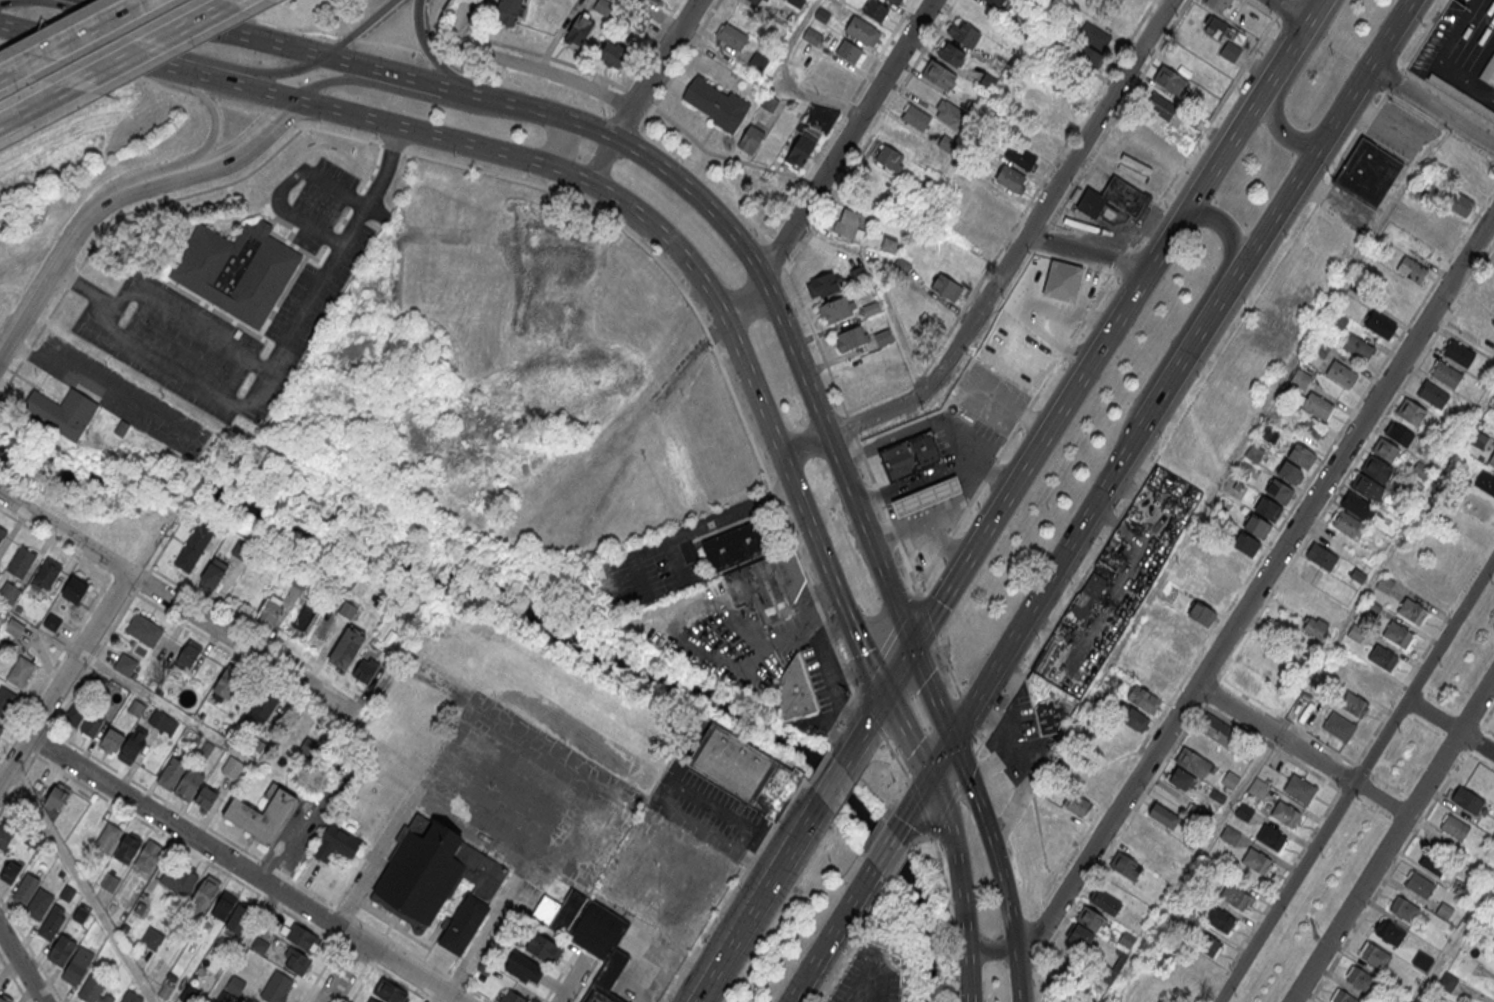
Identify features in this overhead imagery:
road: (12, 1)
road: (106, 1)
building: (654, 1)
building: (754, 1)
building: (896, 1)
building: (996, 2)
building: (795, 3)
building: (1219, 4)
building: (603, 6)
building: (875, 10)
building: (506, 11)
road: (1287, 11)
building: (822, 14)
road: (649, 16)
building: (638, 23)
road: (211, 28)
building: (1221, 28)
road: (358, 29)
building: (860, 29)
road: (1301, 29)
building: (578, 30)
building: (967, 33)
road: (76, 35)
building: (812, 35)
building: (732, 36)
building: (1098, 36)
road: (150, 43)
road: (651, 44)
road: (81, 45)
road: (528, 50)
building: (849, 51)
building: (1230, 51)
building: (951, 52)
building: (612, 54)
building: (1086, 54)
building: (757, 60)
road: (679, 63)
road: (356, 67)
road: (654, 68)
road: (521, 70)
building: (1488, 71)
road: (243, 72)
road: (4, 73)
building: (938, 74)
road: (786, 77)
road: (463, 78)
building: (1169, 79)
road: (339, 81)
building: (988, 81)
road: (228, 83)
road: (414, 83)
road: (1284, 90)
building: (1460, 95)
road: (497, 102)
building: (716, 102)
building: (769, 102)
building: (1159, 104)
road: (34, 105)
road: (1432, 106)
road: (211, 108)
building: (954, 115)
building: (916, 117)
building: (1049, 117)
building: (812, 130)
building: (750, 138)
road: (846, 139)
road: (248, 141)
road: (1323, 142)
building: (946, 143)
road: (1225, 145)
road: (553, 150)
building: (889, 156)
building: (1024, 157)
road: (599, 160)
road: (813, 160)
road: (535, 162)
building: (1368, 172)
road: (674, 177)
building: (1010, 177)
road: (286, 184)
building: (1113, 201)
building: (1457, 202)
road: (823, 211)
road: (116, 214)
building: (847, 221)
road: (72, 231)
road: (829, 243)
building: (889, 244)
road: (1083, 255)
road: (1006, 264)
building: (902, 265)
building: (237, 269)
building: (1412, 269)
building: (859, 273)
building: (822, 284)
building: (947, 287)
building: (1061, 290)
parking lot: (147, 291)
road: (748, 300)
building: (871, 308)
building: (837, 309)
road: (1192, 314)
building: (1337, 321)
road: (187, 323)
building: (1381, 325)
building: (883, 336)
building: (849, 338)
building: (1320, 346)
building: (1357, 346)
building: (1458, 353)
road: (1057, 365)
road: (1178, 370)
building: (1341, 372)
building: (1446, 374)
building: (1300, 378)
road: (261, 383)
building: (1433, 394)
parking lot: (121, 395)
building: (1317, 405)
building: (1410, 411)
building: (62, 412)
road: (935, 423)
building: (1314, 426)
building: (122, 428)
building: (1269, 433)
building: (1400, 434)
building: (1478, 438)
road: (1040, 440)
building: (1385, 450)
building: (1254, 452)
building: (1301, 455)
building: (909, 456)
building: (1492, 460)
road: (840, 462)
building: (1243, 468)
building: (1377, 468)
building: (1420, 470)
building: (1289, 472)
road: (938, 476)
road: (918, 478)
road: (1221, 479)
building: (1486, 482)
road: (922, 483)
building: (1238, 485)
building: (1366, 485)
road: (904, 489)
road: (943, 489)
building: (1174, 489)
building: (1279, 490)
building: (1407, 493)
building: (927, 495)
road: (927, 496)
road: (947, 500)
road: (909, 503)
building: (1357, 504)
road: (802, 505)
building: (1402, 506)
road: (931, 507)
building: (1267, 507)
road: (931, 511)
road: (913, 514)
building: (1348, 524)
building: (1258, 526)
road: (696, 529)
road: (883, 531)
building: (2, 535)
road: (945, 542)
building: (1246, 544)
road: (144, 547)
building: (194, 547)
building: (243, 548)
building: (1447, 552)
building: (1321, 555)
road: (677, 558)
building: (21, 561)
building: (757, 570)
building: (1229, 570)
building: (1308, 572)
building: (213, 574)
building: (47, 575)
road: (1053, 575)
building: (1357, 575)
building: (1385, 583)
road: (1259, 585)
building: (75, 589)
building: (10, 592)
building: (1087, 595)
building: (1213, 596)
road: (176, 601)
building: (1372, 606)
building: (348, 609)
building: (1159, 609)
building: (1412, 610)
building: (269, 613)
building: (1202, 613)
river: (550, 624)
building: (1315, 626)
building: (15, 628)
building: (144, 630)
building: (1189, 630)
building: (1356, 631)
building: (1397, 633)
building: (347, 647)
traffic signals: (912, 647)
building: (1180, 649)
building: (188, 654)
building: (1382, 656)
building: (125, 665)
building: (1166, 665)
building: (365, 670)
building: (20, 671)
road: (897, 671)
road: (65, 678)
road: (847, 679)
building: (1245, 679)
building: (1369, 680)
building: (1112, 681)
building: (228, 683)
building: (1157, 684)
building: (794, 690)
road: (932, 692)
traffic signals: (883, 696)
building: (1145, 699)
building: (6, 701)
building: (1276, 701)
building: (1047, 703)
building: (1355, 703)
building: (264, 706)
building: (136, 708)
road: (967, 716)
building: (1133, 716)
road: (1487, 716)
building: (83, 721)
building: (162, 722)
building: (1338, 725)
road: (1449, 726)
building: (1215, 728)
building: (0, 730)
road: (863, 730)
road: (1487, 731)
road: (907, 735)
traffic signals: (953, 739)
building: (123, 745)
road: (1301, 750)
road: (942, 756)
building: (1192, 762)
building: (232, 768)
building: (745, 770)
traffic signals: (931, 774)
building: (180, 778)
building: (1181, 778)
road: (834, 779)
road: (1356, 779)
building: (1230, 780)
road: (139, 784)
building: (1299, 788)
building: (1259, 789)
building: (1218, 795)
building: (57, 796)
parking lot: (527, 796)
building: (205, 799)
building: (1468, 800)
road: (913, 802)
building: (1077, 804)
building: (1244, 811)
building: (1197, 812)
building: (1284, 813)
building: (262, 814)
building: (1163, 814)
road: (808, 818)
building: (1455, 827)
building: (1230, 835)
building: (5, 837)
building: (108, 837)
building: (1270, 837)
road: (1392, 838)
road: (993, 840)
road: (175, 842)
building: (336, 844)
building: (128, 847)
road: (884, 852)
building: (148, 856)
road: (783, 856)
road: (375, 857)
building: (1257, 862)
building: (1433, 863)
building: (1126, 866)
road: (244, 868)
building: (10, 871)
building: (180, 879)
building: (110, 882)
building: (438, 882)
road: (80, 885)
road: (961, 885)
building: (1419, 885)
building: (25, 889)
building: (67, 893)
building: (204, 894)
road: (1045, 895)
building: (1235, 895)
building: (1105, 901)
building: (39, 904)
building: (224, 905)
building: (1404, 909)
building: (1445, 911)
building: (81, 915)
building: (1090, 917)
building: (1220, 918)
building: (240, 919)
road: (950, 919)
building: (52, 922)
road: (1044, 926)
building: (1389, 933)
building: (1080, 934)
road: (733, 936)
building: (303, 937)
road: (831, 937)
road: (1053, 937)
building: (152, 938)
road: (752, 938)
power tower: (1314, 938)
building: (1127, 939)
building: (1206, 942)
road: (397, 944)
road: (1048, 944)
building: (599, 945)
road: (30, 950)
building: (61, 950)
building: (543, 950)
road: (991, 950)
building: (1492, 955)
building: (1374, 956)
building: (295, 961)
building: (1422, 961)
building: (77, 964)
road: (21, 965)
building: (1468, 965)
road: (879, 966)
building: (524, 969)
road: (343, 972)
road: (1018, 974)
parking lot: (870, 975)
road: (13, 978)
building: (1360, 979)
road: (573, 980)
building: (1447, 981)
road: (861, 982)
road: (884, 986)
building: (277, 987)
building: (91, 988)
building: (233, 990)
building: (165, 991)
building: (390, 992)
building: (190, 994)
building: (131, 997)
building: (513, 997)
building: (1341, 997)
building: (5, 998)
building: (370, 1000)

